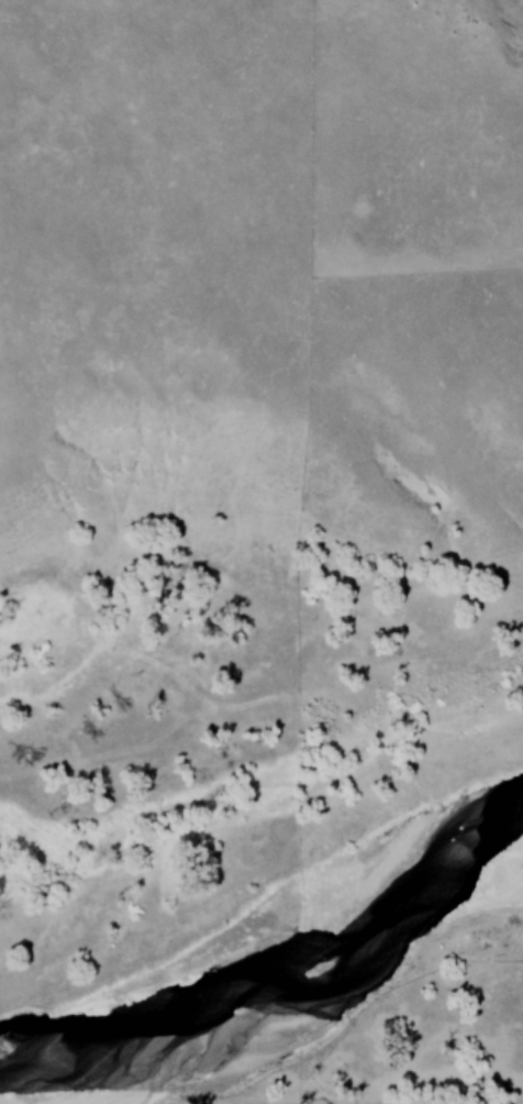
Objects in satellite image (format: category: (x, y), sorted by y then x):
river: (282, 980)

